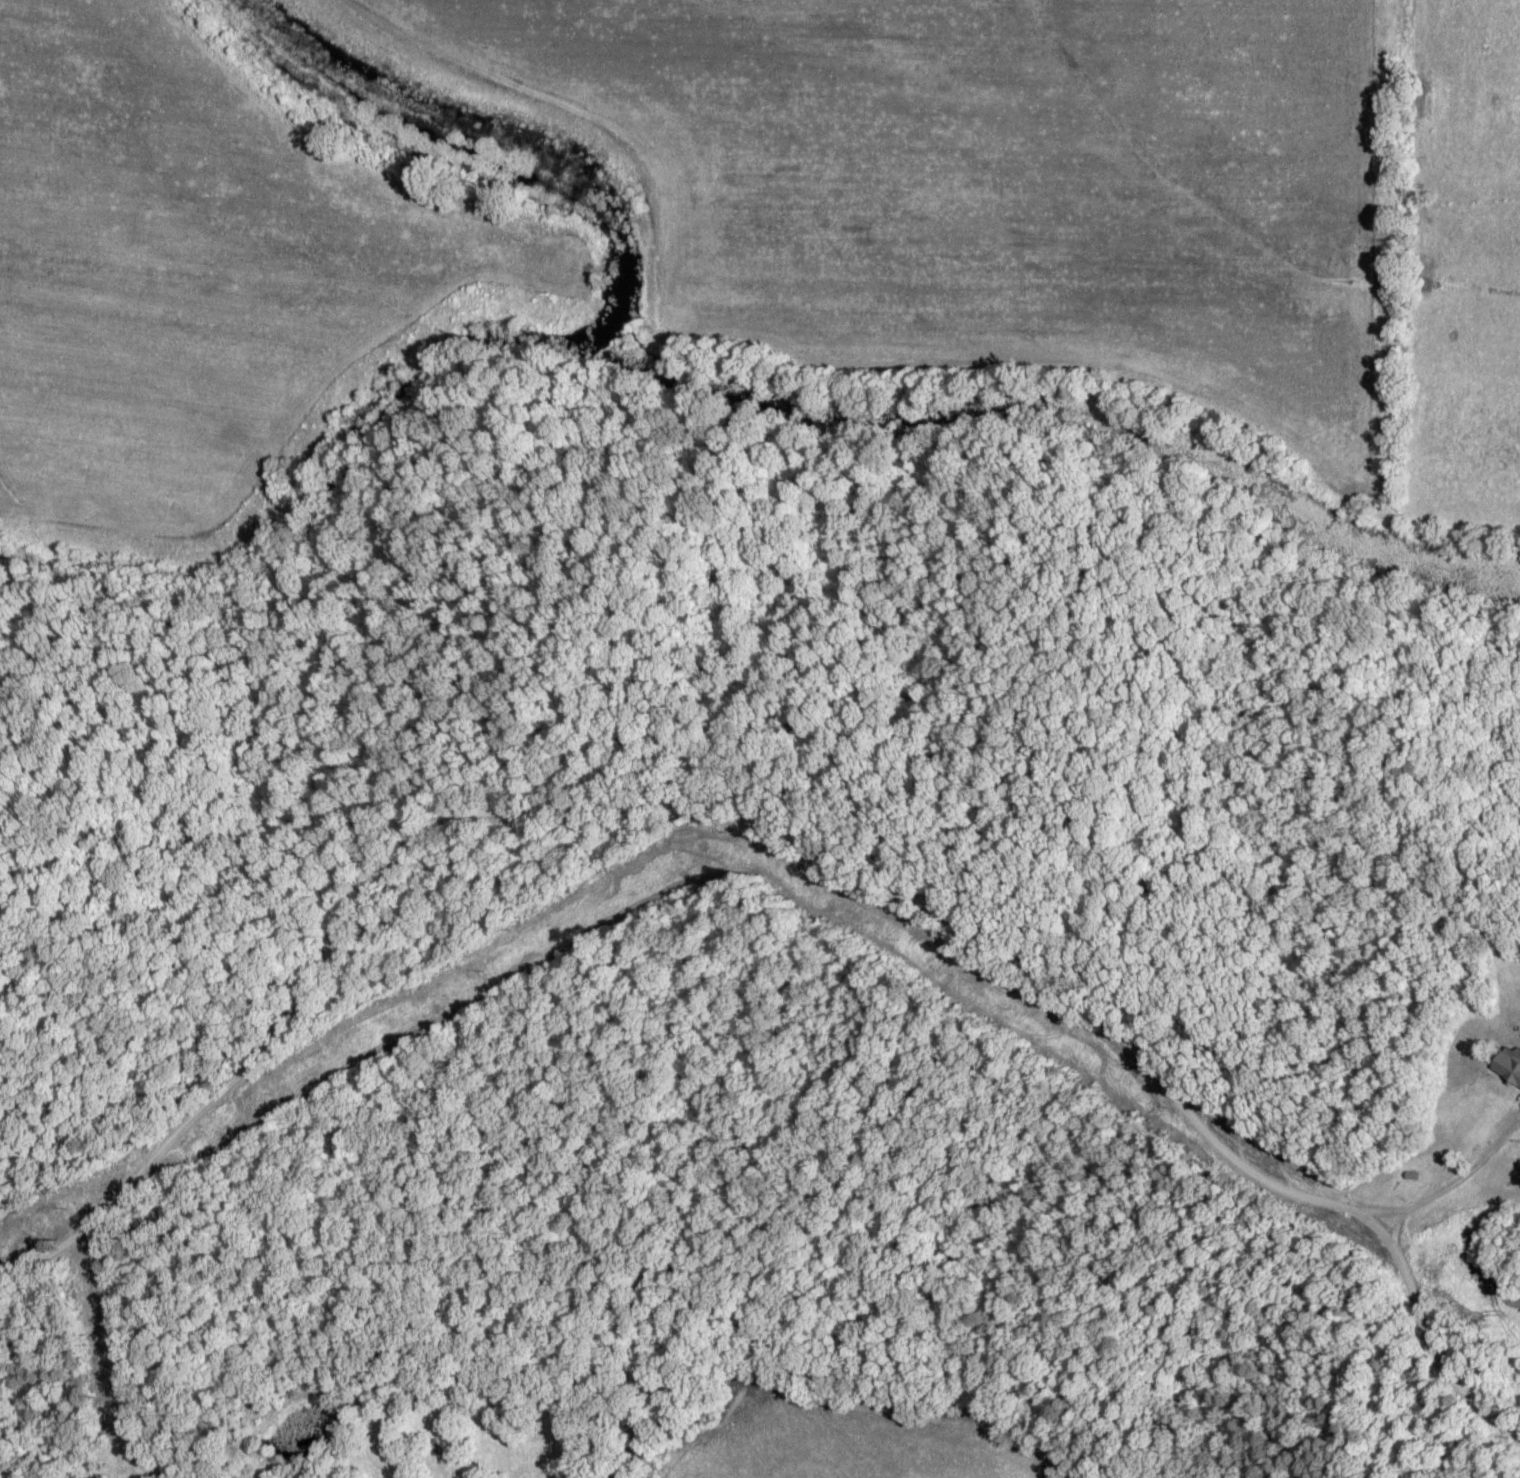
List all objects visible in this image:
road: (781, 836)
building: (1505, 1066)

